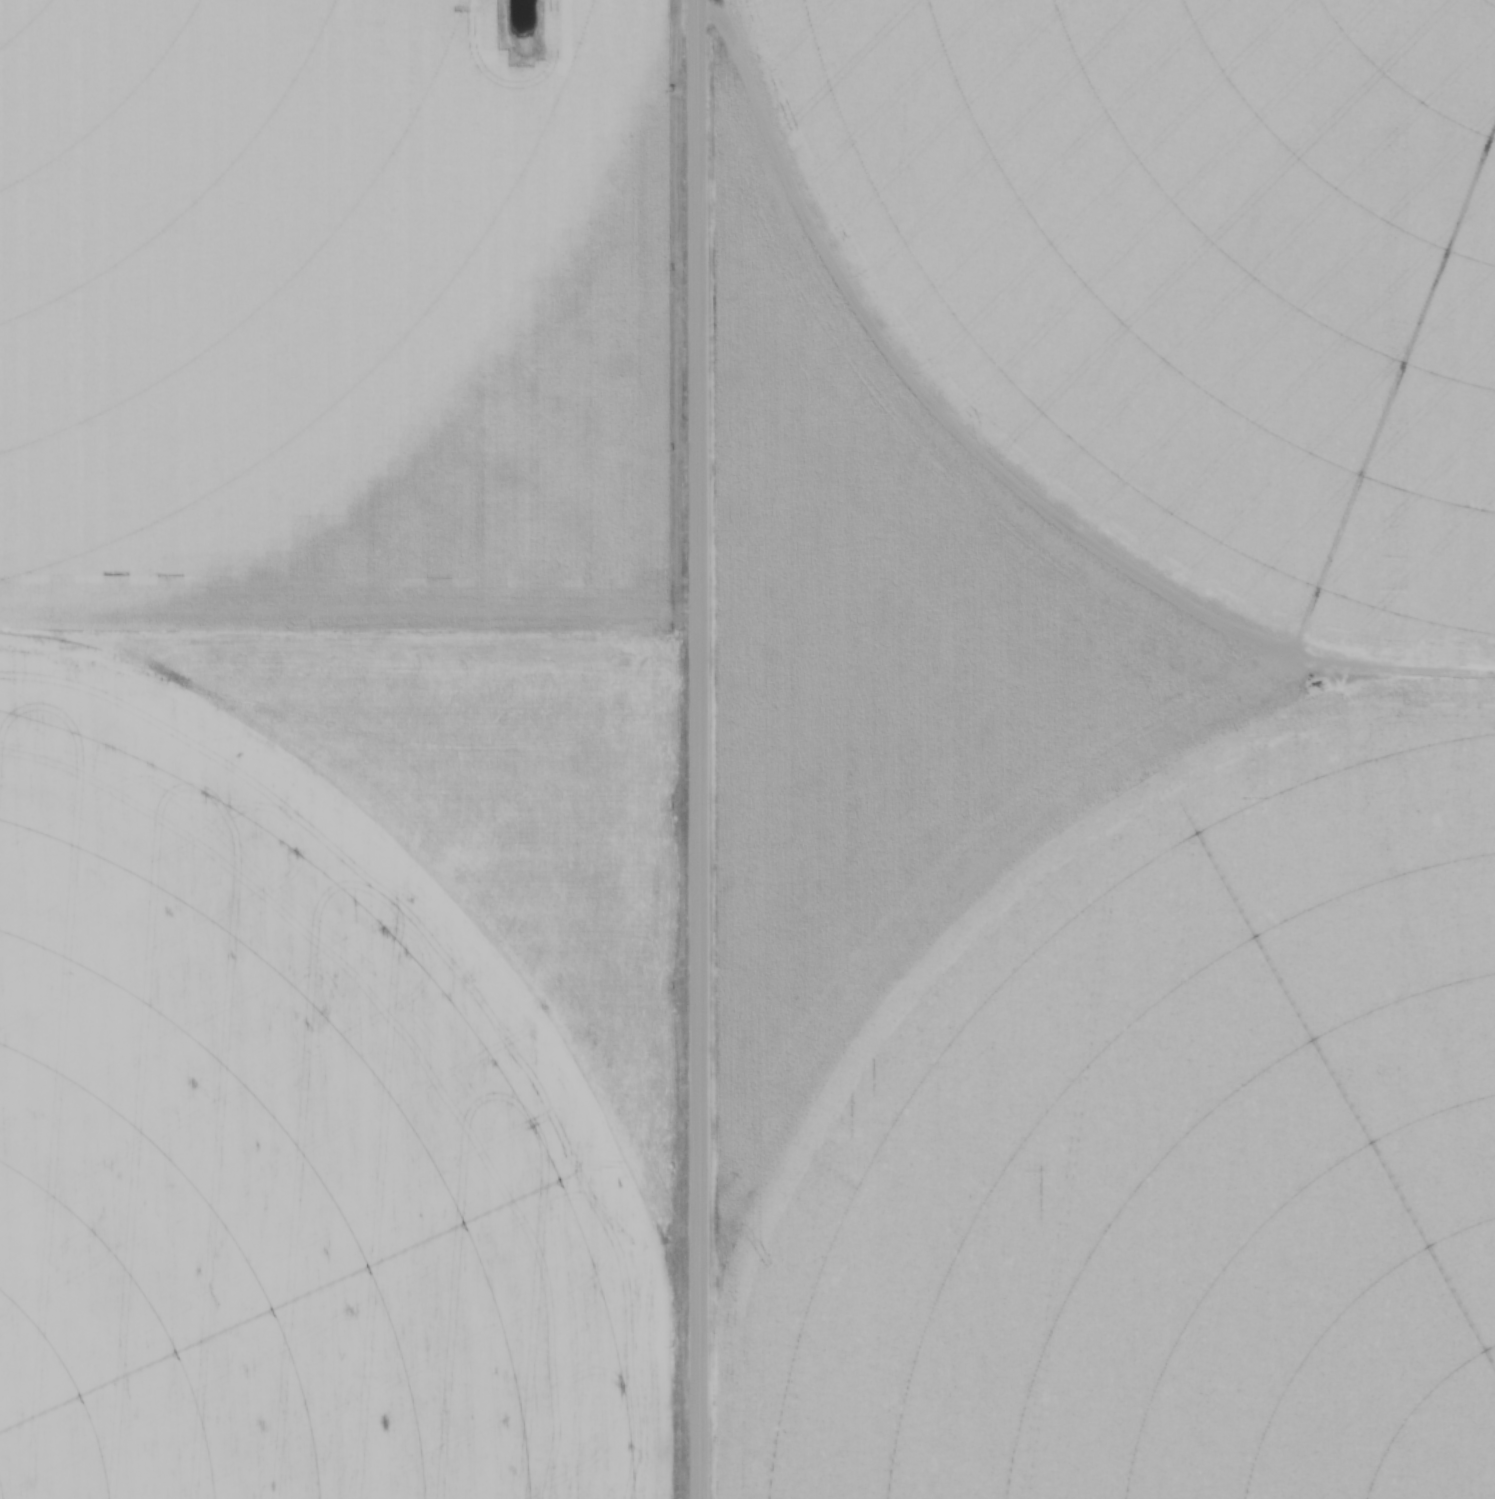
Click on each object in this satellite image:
crop: (1107, 746)
crop: (337, 749)
road: (697, 749)

